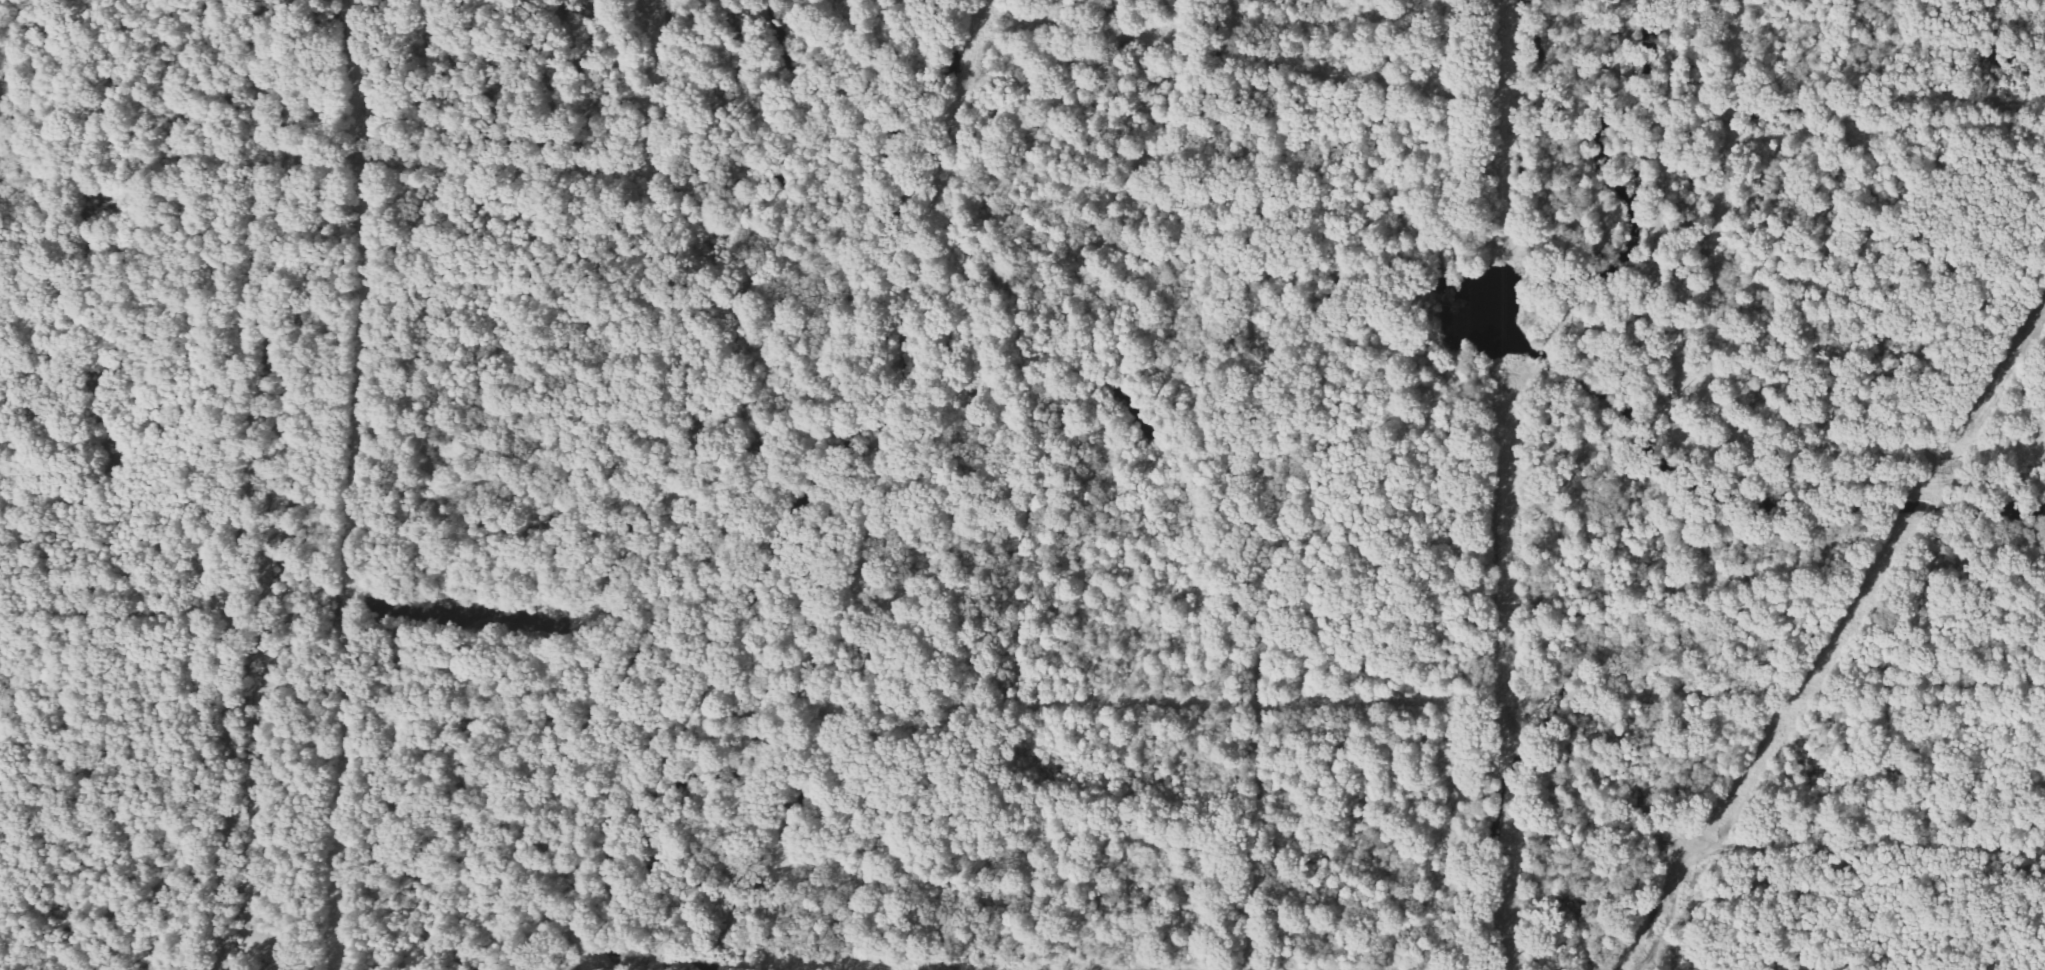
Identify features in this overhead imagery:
road: (463, 163)
road: (1665, 405)
road: (1259, 484)
road: (248, 486)
road: (666, 490)
road: (537, 530)
road: (113, 617)
road: (472, 659)
road: (979, 704)
road: (85, 734)
road: (1014, 841)
road: (1812, 850)
road: (220, 969)

